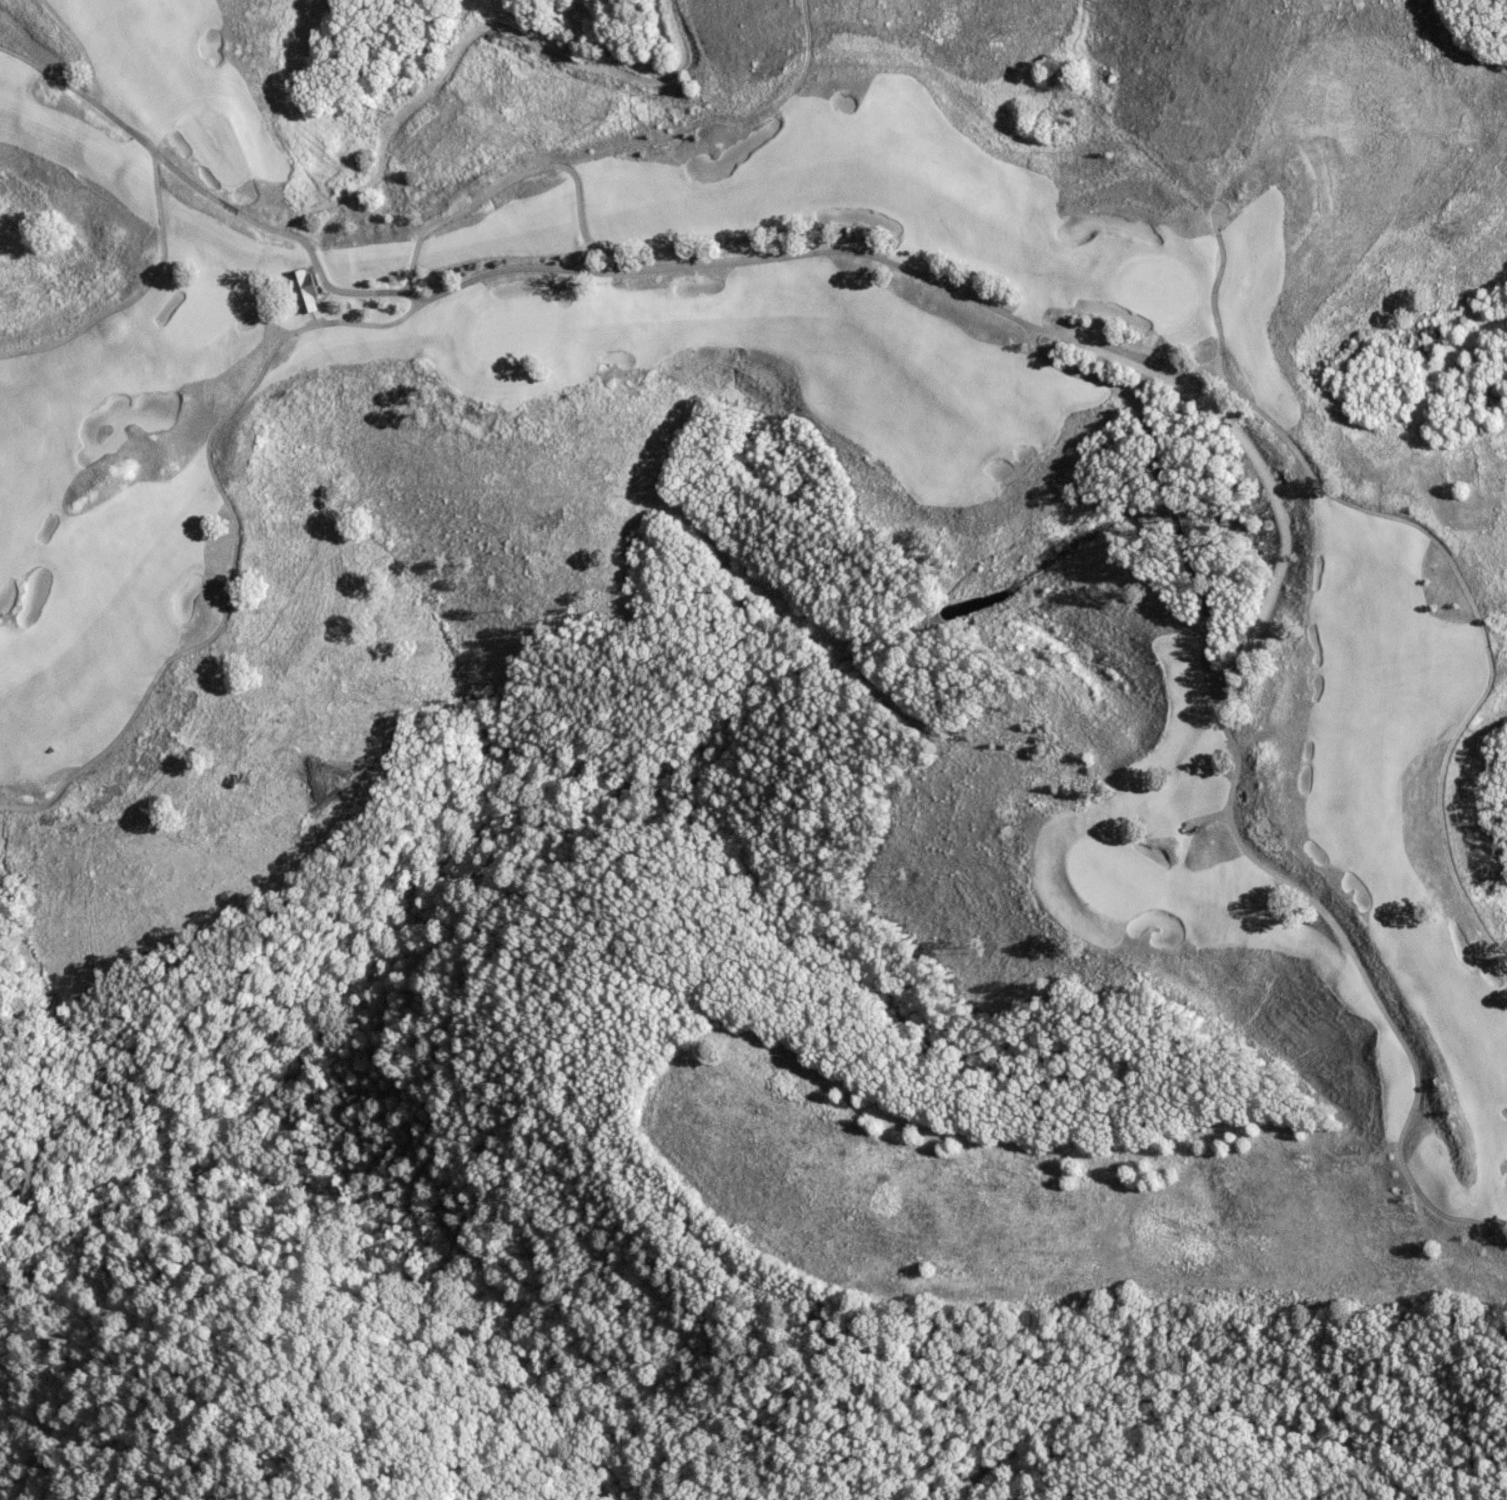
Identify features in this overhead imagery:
building: (302, 290)

